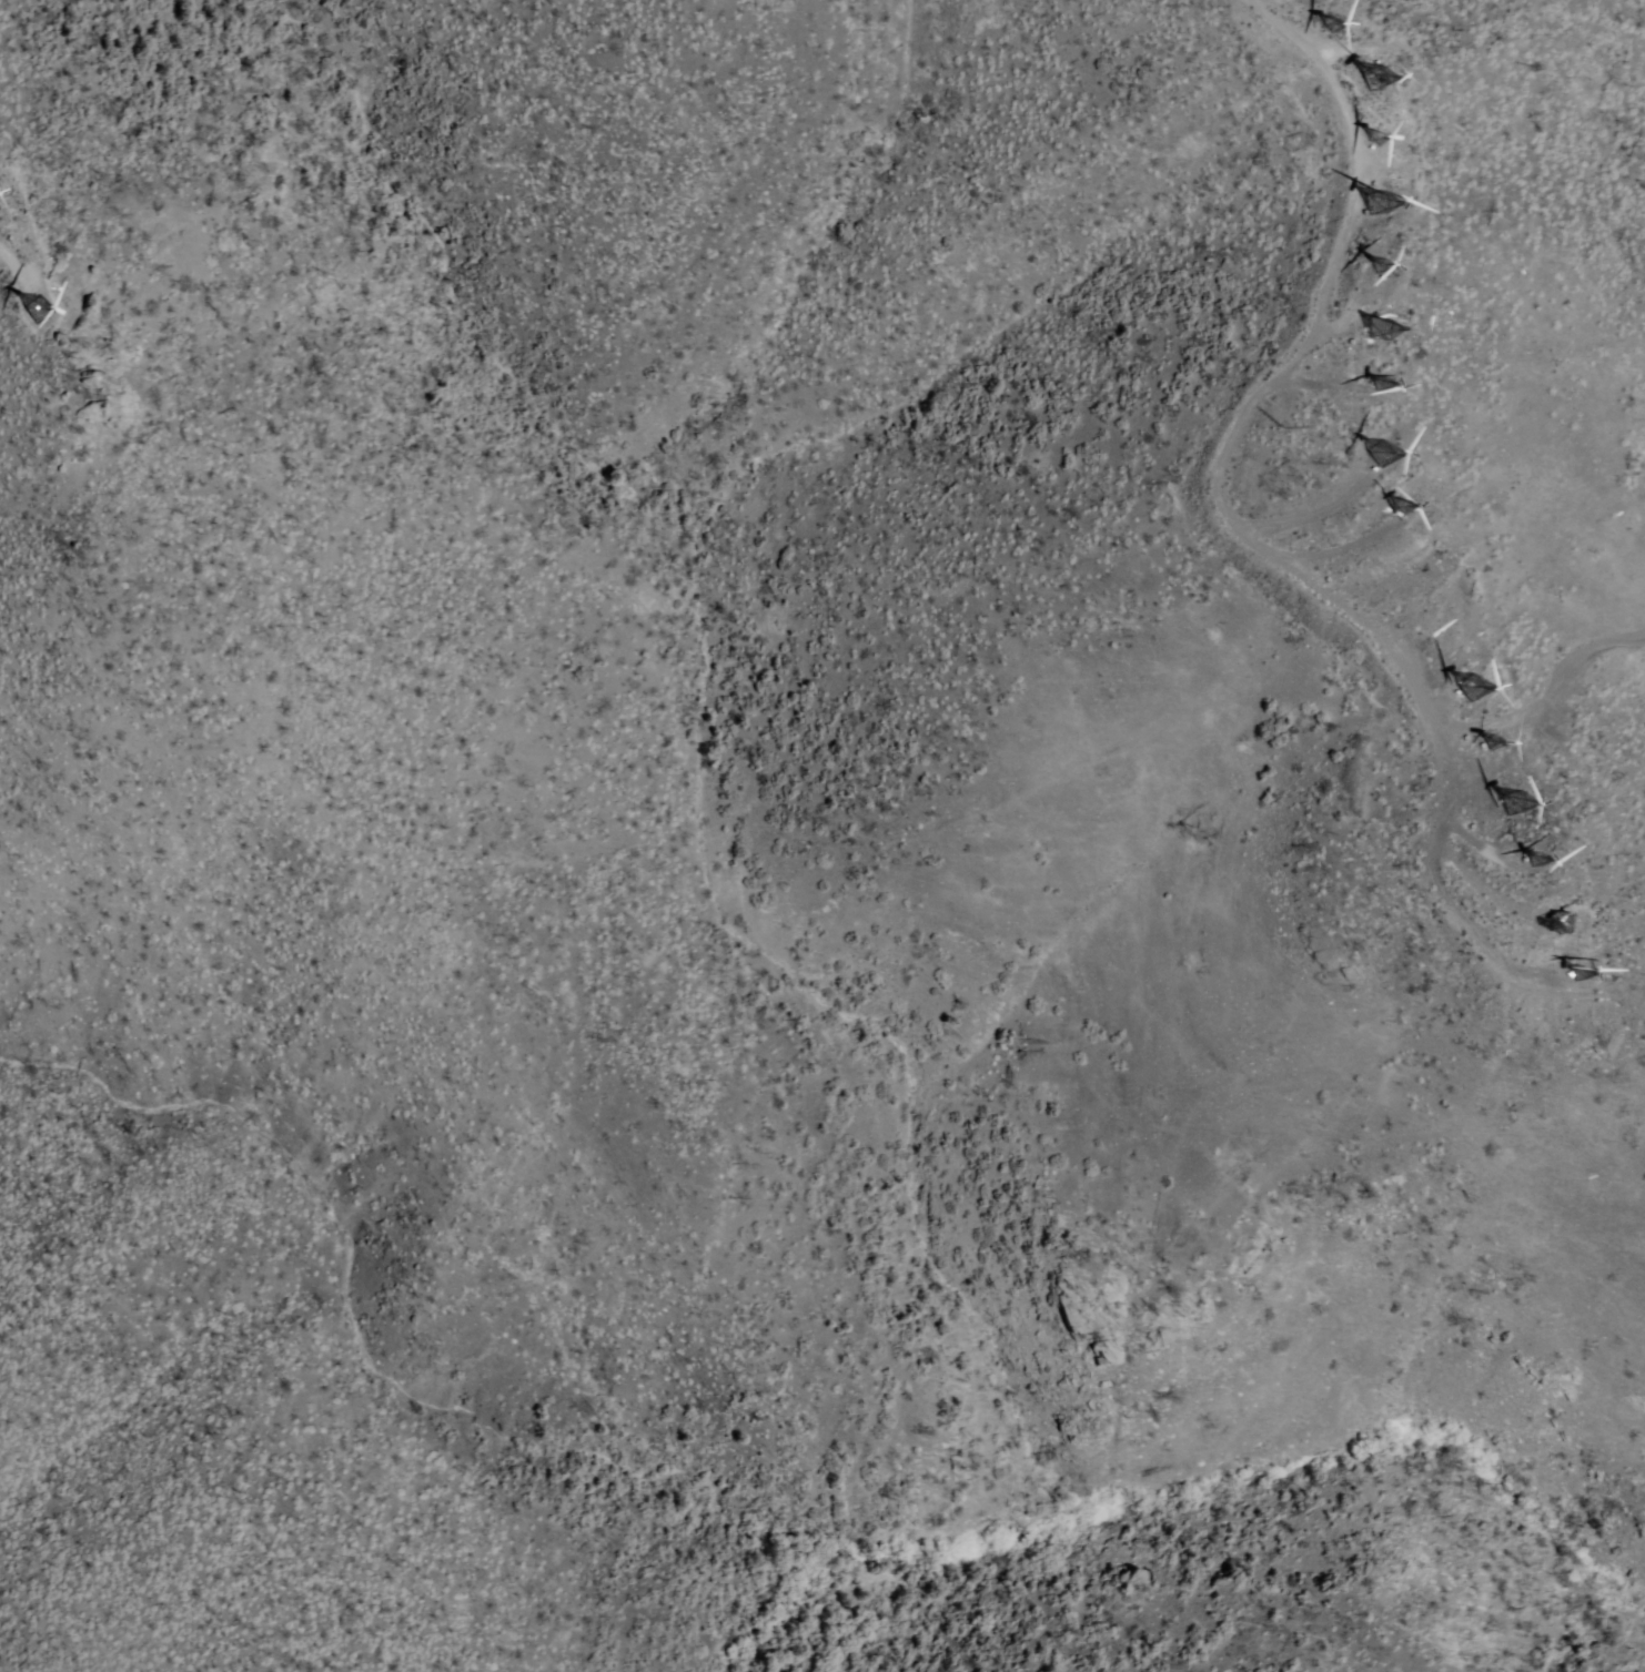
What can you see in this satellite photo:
wind turbine: (1323, 21)
wind turbine: (1363, 79)
wind turbine: (1381, 134)
wind turbine: (1368, 205)
wind turbine: (1372, 263)
wind turbine: (36, 311)
wind turbine: (1376, 332)
wind turbine: (1375, 384)
wind turbine: (1375, 450)
wind turbine: (1399, 510)
road: (1233, 528)
road: (1545, 688)
wind turbine: (1474, 696)
wind turbine: (1490, 743)
wind turbine: (1521, 805)
wind turbine: (1540, 861)
wind turbine: (1553, 923)
wind turbine: (1578, 980)

